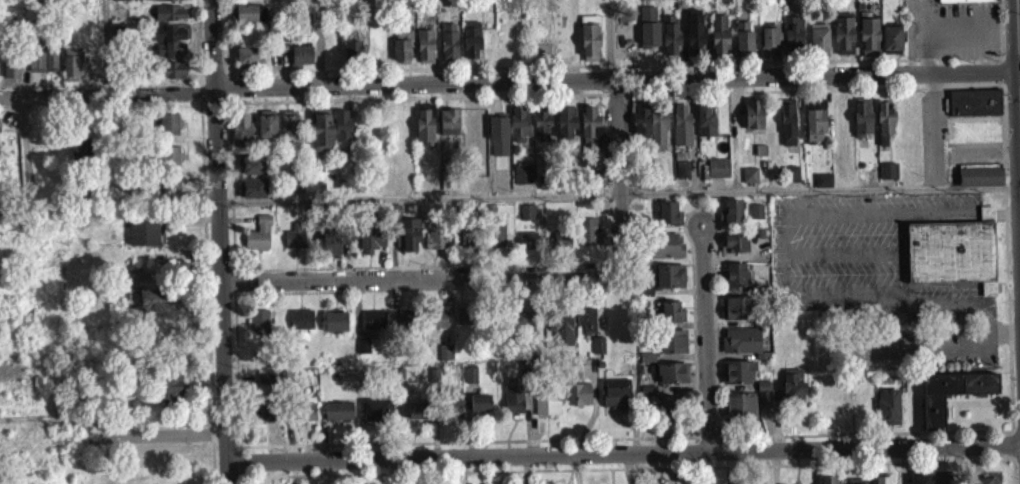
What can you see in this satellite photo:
building: (284, 0)
building: (248, 2)
building: (125, 3)
building: (165, 3)
building: (965, 4)
road: (107, 10)
building: (169, 20)
building: (245, 20)
building: (259, 20)
road: (955, 29)
road: (227, 35)
road: (918, 36)
building: (122, 38)
building: (867, 38)
road: (613, 39)
building: (693, 39)
building: (718, 41)
building: (792, 41)
building: (842, 41)
building: (670, 42)
road: (318, 43)
road: (197, 45)
building: (589, 45)
building: (470, 46)
building: (769, 46)
building: (818, 46)
building: (743, 47)
building: (891, 47)
road: (1018, 47)
building: (170, 48)
building: (448, 49)
building: (401, 52)
building: (425, 53)
building: (351, 56)
building: (300, 62)
building: (42, 65)
building: (246, 65)
building: (71, 71)
building: (10, 72)
road: (509, 80)
building: (974, 110)
building: (752, 122)
road: (938, 123)
building: (861, 124)
building: (565, 125)
building: (540, 126)
building: (640, 127)
building: (704, 127)
building: (814, 128)
building: (883, 128)
building: (424, 129)
building: (787, 129)
building: (589, 130)
building: (266, 131)
building: (448, 131)
building: (168, 132)
building: (519, 132)
building: (681, 133)
building: (289, 134)
building: (341, 134)
building: (657, 136)
building: (240, 137)
building: (320, 137)
road: (988, 146)
building: (760, 157)
building: (168, 164)
building: (252, 172)
building: (717, 175)
road: (619, 176)
building: (682, 177)
building: (887, 178)
building: (522, 181)
building: (790, 181)
building: (749, 182)
building: (979, 184)
building: (596, 185)
building: (822, 188)
building: (173, 194)
building: (253, 195)
building: (731, 217)
building: (526, 219)
building: (755, 219)
building: (666, 220)
building: (588, 238)
building: (143, 239)
road: (222, 241)
building: (258, 242)
building: (408, 242)
building: (496, 242)
building: (436, 244)
building: (466, 244)
building: (370, 245)
building: (294, 246)
building: (560, 246)
building: (527, 248)
building: (733, 251)
building: (330, 252)
building: (662, 253)
building: (952, 259)
road: (423, 277)
building: (736, 282)
building: (669, 283)
building: (153, 307)
building: (736, 315)
building: (670, 319)
building: (462, 321)
building: (437, 326)
building: (524, 326)
building: (300, 327)
building: (373, 327)
building: (586, 327)
building: (258, 329)
building: (334, 329)
building: (405, 329)
building: (560, 336)
road: (702, 336)
building: (740, 347)
building: (672, 349)
building: (597, 351)
building: (444, 360)
building: (646, 365)
building: (671, 380)
building: (738, 380)
building: (169, 393)
building: (792, 394)
building: (950, 400)
building: (577, 401)
building: (614, 403)
building: (513, 406)
building: (546, 409)
building: (762, 409)
building: (479, 410)
building: (453, 411)
building: (739, 413)
building: (887, 413)
building: (669, 414)
building: (307, 417)
building: (416, 417)
building: (260, 418)
building: (337, 418)
building: (374, 418)
road: (624, 452)
building: (941, 482)
building: (827, 483)
building: (883, 483)
building: (919, 483)

